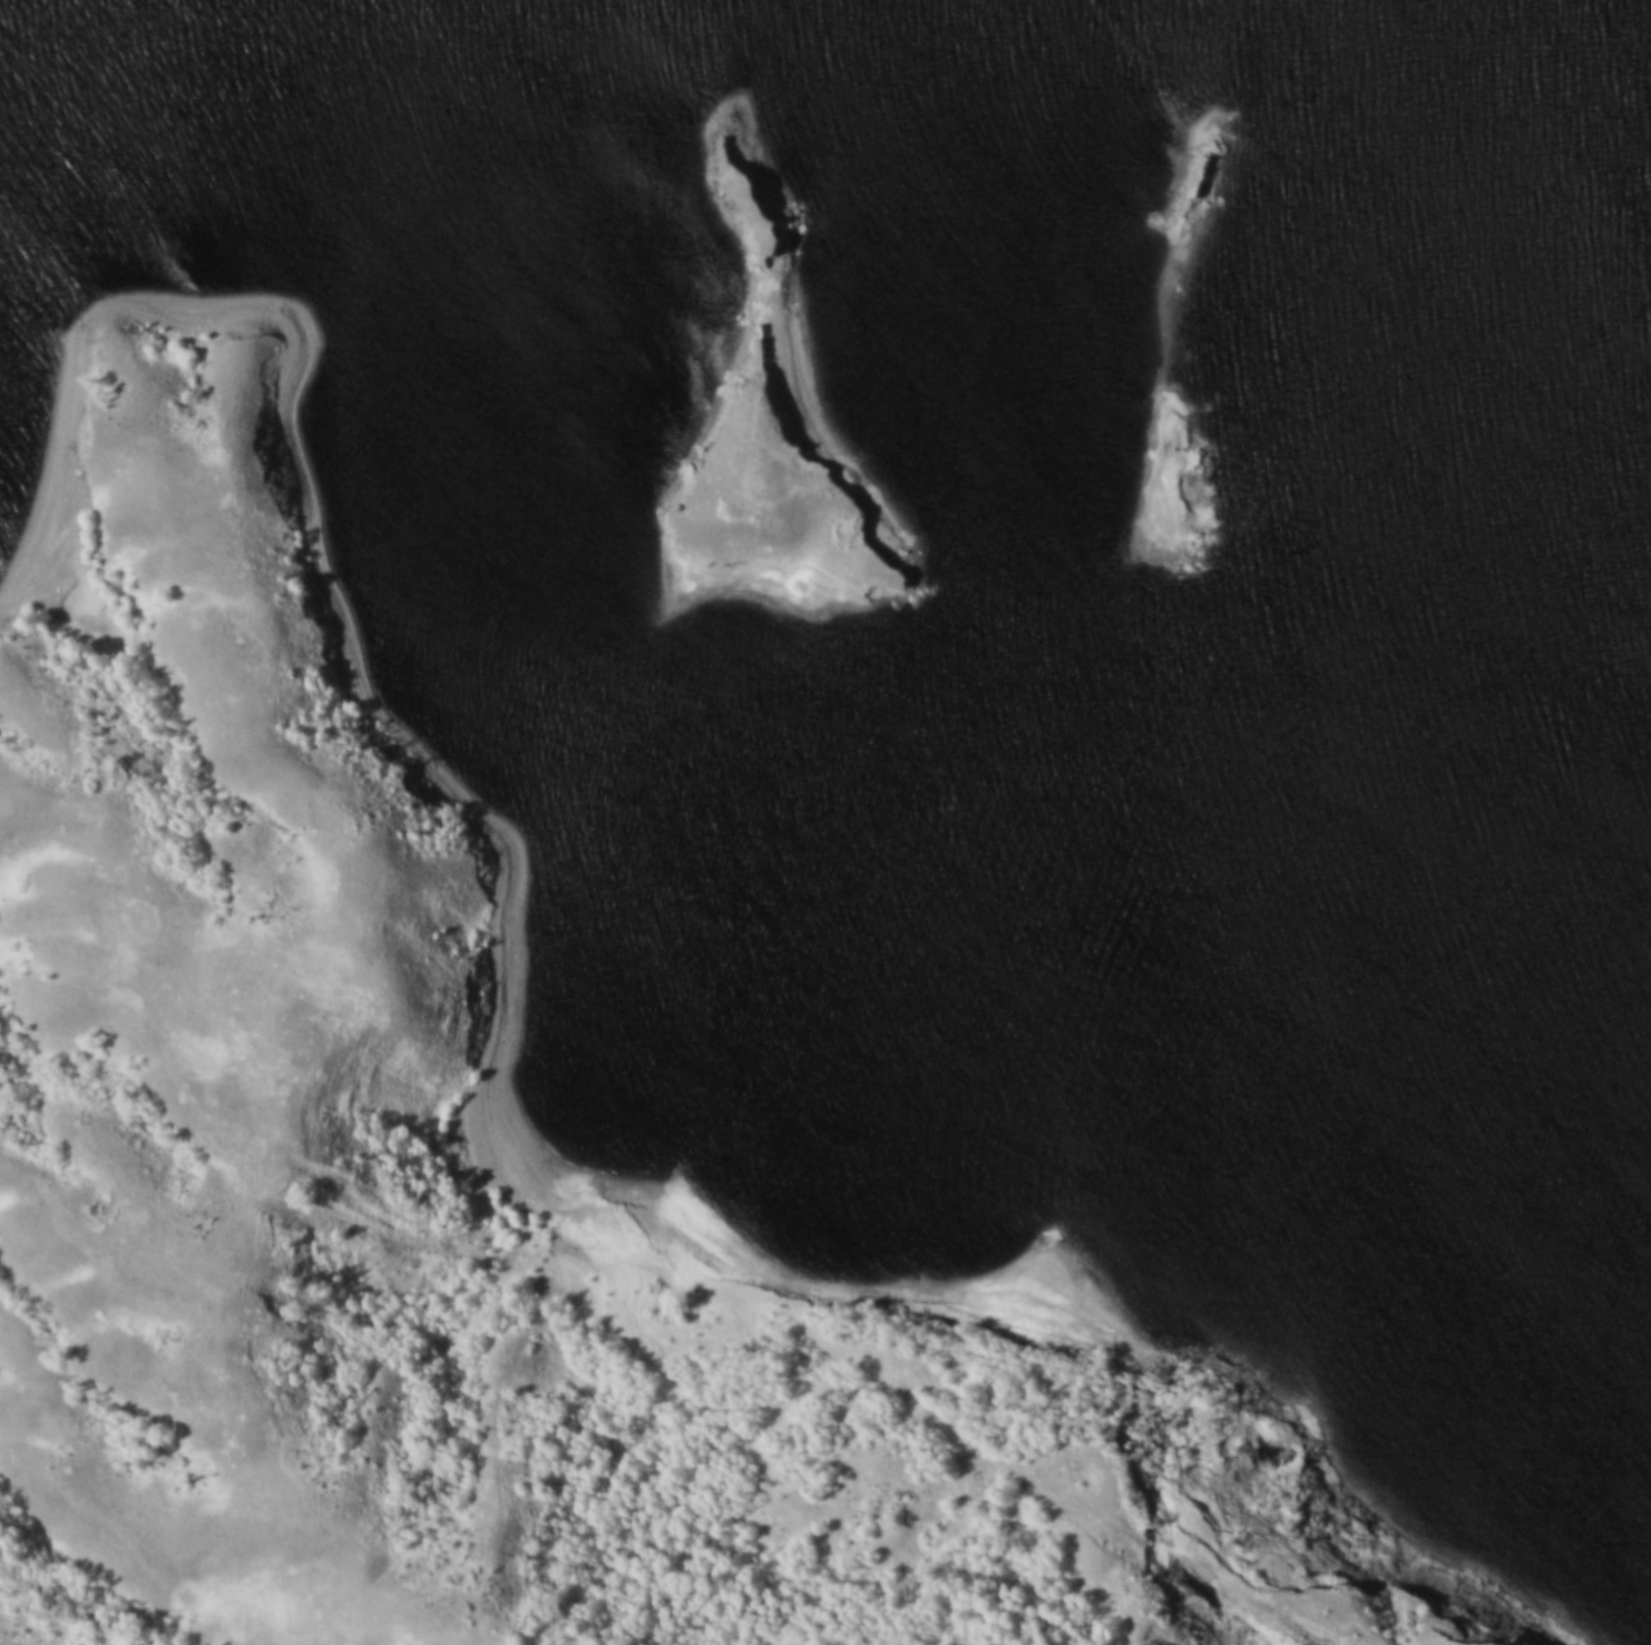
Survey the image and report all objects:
road: (1361, 1421)
road: (995, 1470)

